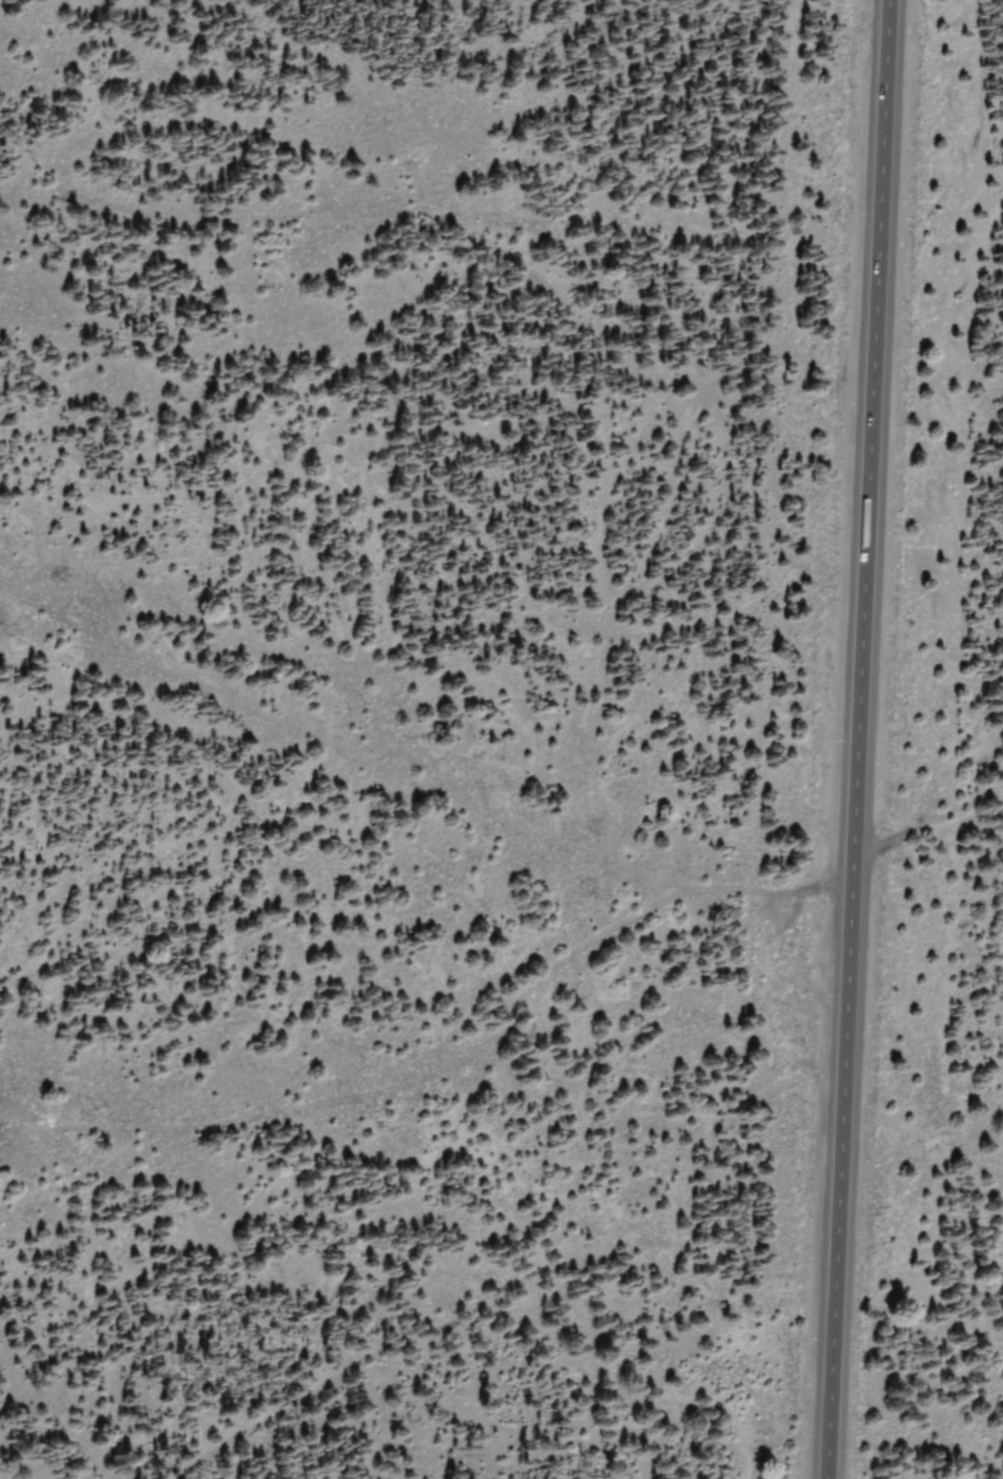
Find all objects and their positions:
road: (855, 739)

